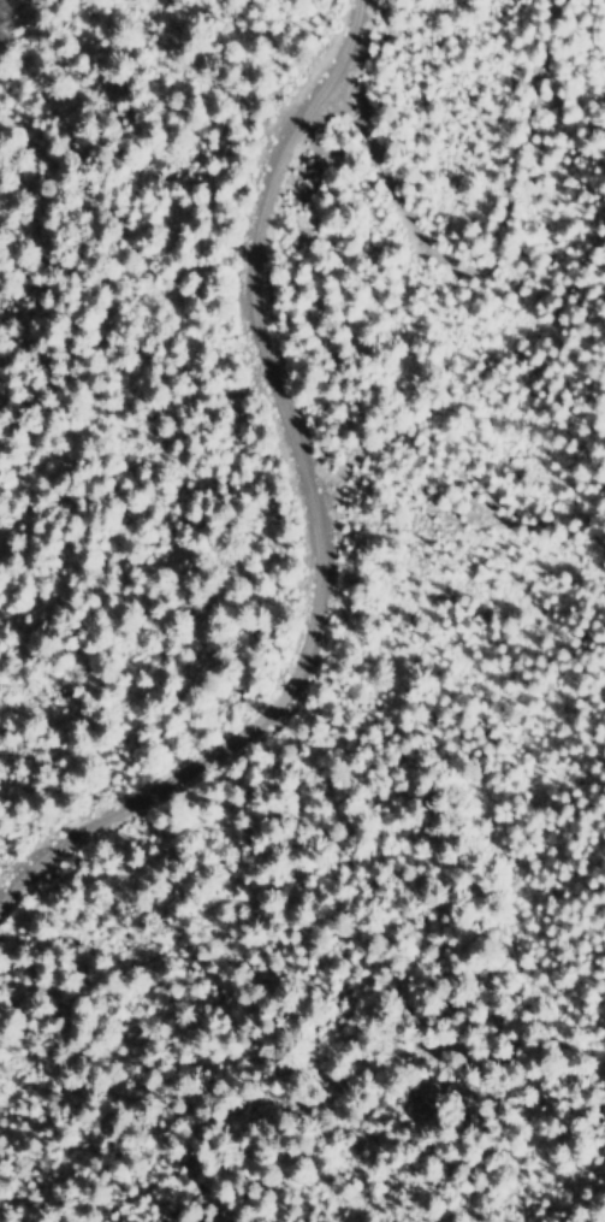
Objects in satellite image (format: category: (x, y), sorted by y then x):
road: (481, 270)
road: (308, 508)

